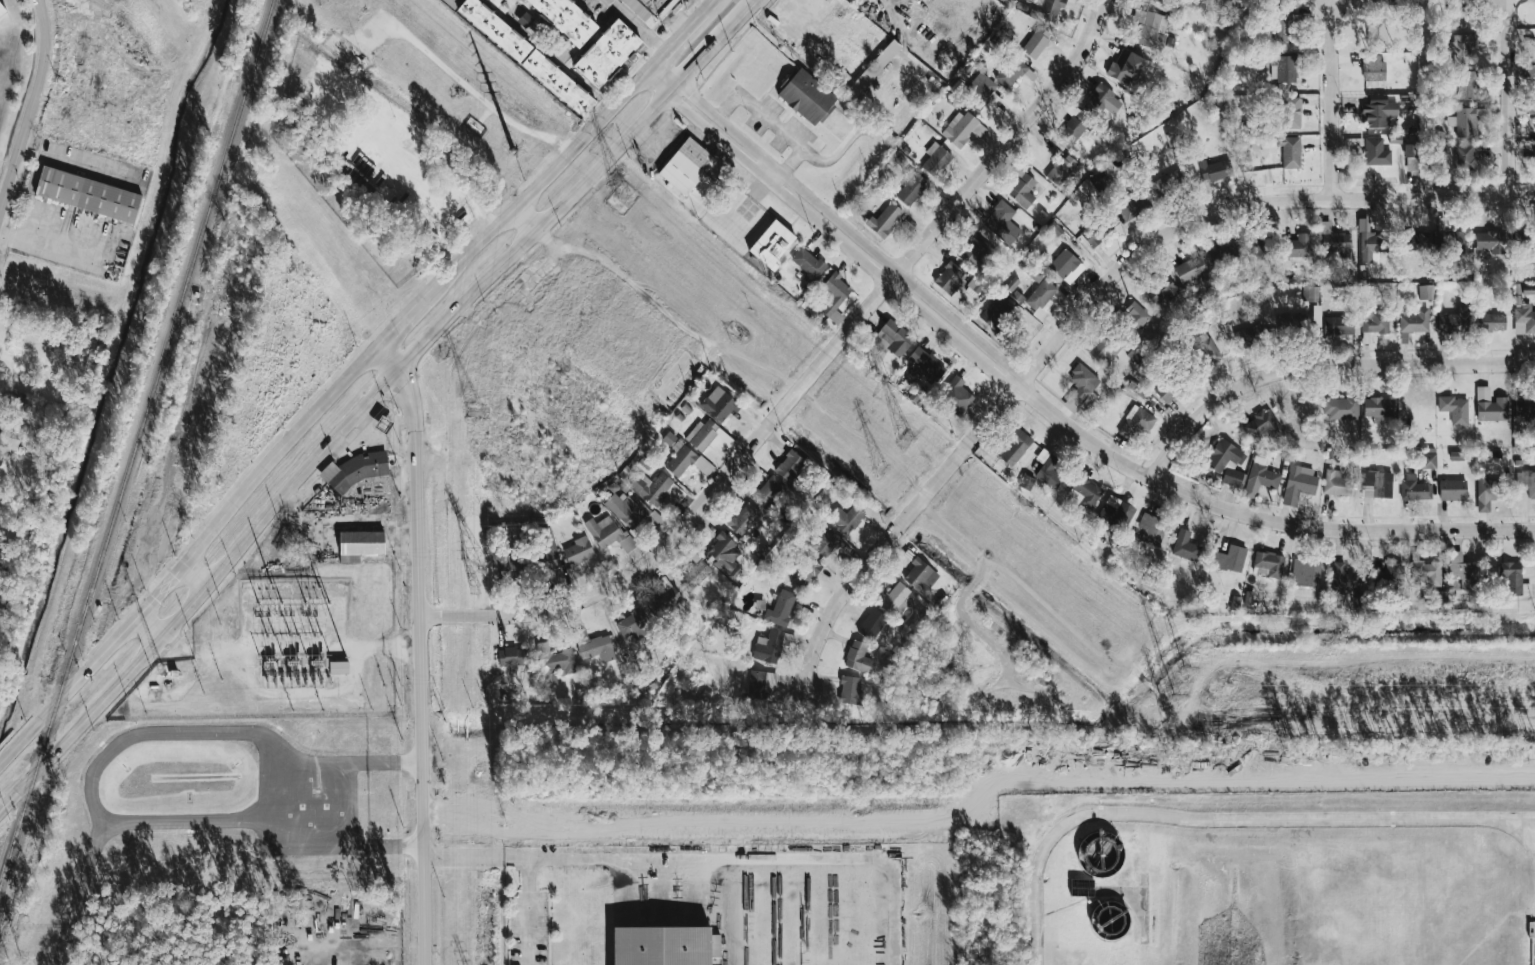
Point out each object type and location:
road: (714, 1)
building: (500, 2)
road: (613, 2)
building: (659, 6)
road: (710, 6)
building: (1054, 7)
building: (2, 10)
road: (676, 16)
building: (569, 19)
building: (527, 20)
building: (1151, 27)
road: (641, 28)
building: (1284, 34)
building: (1378, 36)
road: (677, 42)
building: (1038, 43)
building: (1467, 49)
building: (610, 54)
building: (530, 56)
building: (1129, 67)
building: (1376, 68)
building: (1532, 72)
building: (1011, 73)
building: (980, 87)
building: (1469, 91)
building: (808, 97)
road: (1509, 99)
building: (1104, 101)
road: (1334, 103)
road: (31, 105)
building: (1295, 113)
building: (1378, 114)
building: (1465, 123)
building: (1078, 124)
building: (956, 134)
road: (787, 137)
road: (415, 146)
building: (1375, 152)
building: (1291, 153)
building: (1413, 158)
building: (1466, 158)
road: (791, 161)
building: (938, 161)
power tower: (522, 166)
building: (688, 166)
building: (1215, 170)
building: (1056, 176)
road: (776, 179)
building: (1172, 180)
road: (538, 184)
building: (913, 189)
building: (1024, 191)
road: (466, 192)
building: (89, 195)
power tower: (623, 201)
building: (1132, 209)
road: (525, 218)
building: (886, 220)
road: (838, 222)
building: (1003, 223)
road: (831, 237)
building: (1485, 238)
building: (1093, 239)
building: (1450, 241)
building: (775, 244)
building: (1337, 244)
building: (1303, 245)
building: (1371, 248)
building: (1066, 263)
building: (808, 264)
building: (1193, 269)
building: (1035, 273)
building: (950, 278)
building: (1419, 291)
building: (1163, 293)
building: (833, 294)
building: (1311, 294)
building: (1041, 295)
building: (1522, 306)
road: (1078, 315)
building: (1136, 315)
building: (995, 316)
building: (1412, 320)
road: (402, 321)
building: (1470, 321)
building: (1288, 323)
building: (1373, 323)
building: (1339, 326)
building: (1243, 337)
building: (895, 338)
building: (1213, 351)
building: (927, 364)
road: (1324, 366)
road: (808, 380)
building: (1083, 384)
building: (1167, 393)
building: (957, 396)
road: (369, 397)
building: (720, 404)
building: (1487, 404)
building: (1527, 405)
building: (1337, 408)
building: (1375, 408)
building: (1452, 409)
power tower: (476, 413)
building: (1138, 424)
building: (1259, 426)
building: (701, 434)
building: (671, 441)
power tower: (907, 443)
railway: (135, 447)
building: (1017, 448)
building: (1221, 455)
building: (681, 460)
building: (1425, 460)
building: (792, 464)
power tower: (877, 467)
building: (355, 471)
building: (1298, 483)
building: (1376, 485)
building: (652, 486)
building: (1414, 488)
building: (1453, 489)
building: (768, 490)
building: (1486, 490)
building: (1084, 492)
building: (627, 509)
building: (1116, 511)
road: (1261, 512)
building: (655, 518)
building: (744, 518)
building: (846, 518)
building: (1152, 529)
building: (608, 532)
building: (826, 542)
building: (360, 543)
building: (548, 543)
building: (1185, 545)
building: (578, 551)
road: (187, 552)
building: (724, 556)
building: (1230, 558)
building: (510, 563)
building: (1268, 563)
power tower: (475, 569)
building: (1393, 569)
building: (1463, 570)
building: (575, 571)
building: (805, 572)
building: (1425, 572)
building: (1306, 573)
building: (694, 574)
building: (921, 576)
building: (1511, 576)
road: (192, 577)
building: (1344, 577)
building: (664, 598)
building: (895, 598)
building: (781, 608)
building: (872, 623)
building: (633, 625)
road: (145, 632)
building: (581, 637)
building: (772, 644)
building: (597, 648)
road: (419, 649)
road: (289, 650)
power substation: (281, 651)
building: (512, 655)
building: (858, 656)
building: (553, 662)
building: (339, 666)
power tower: (1188, 676)
building: (761, 681)
road: (359, 684)
building: (850, 689)
power tower: (1172, 719)
road: (1227, 819)
road: (708, 857)
wastewater plant: (1269, 876)
road: (530, 909)
parking lot: (528, 928)
building: (662, 945)

